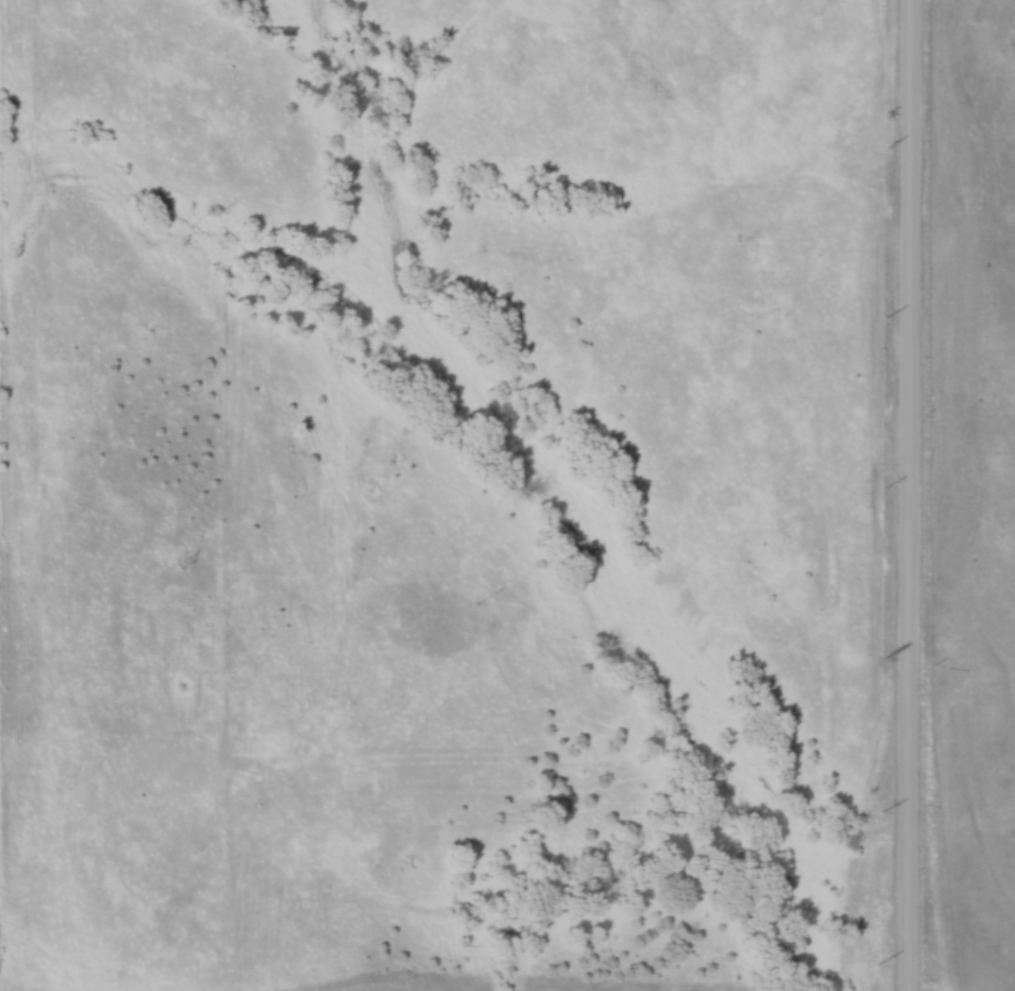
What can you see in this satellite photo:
road: (907, 495)

